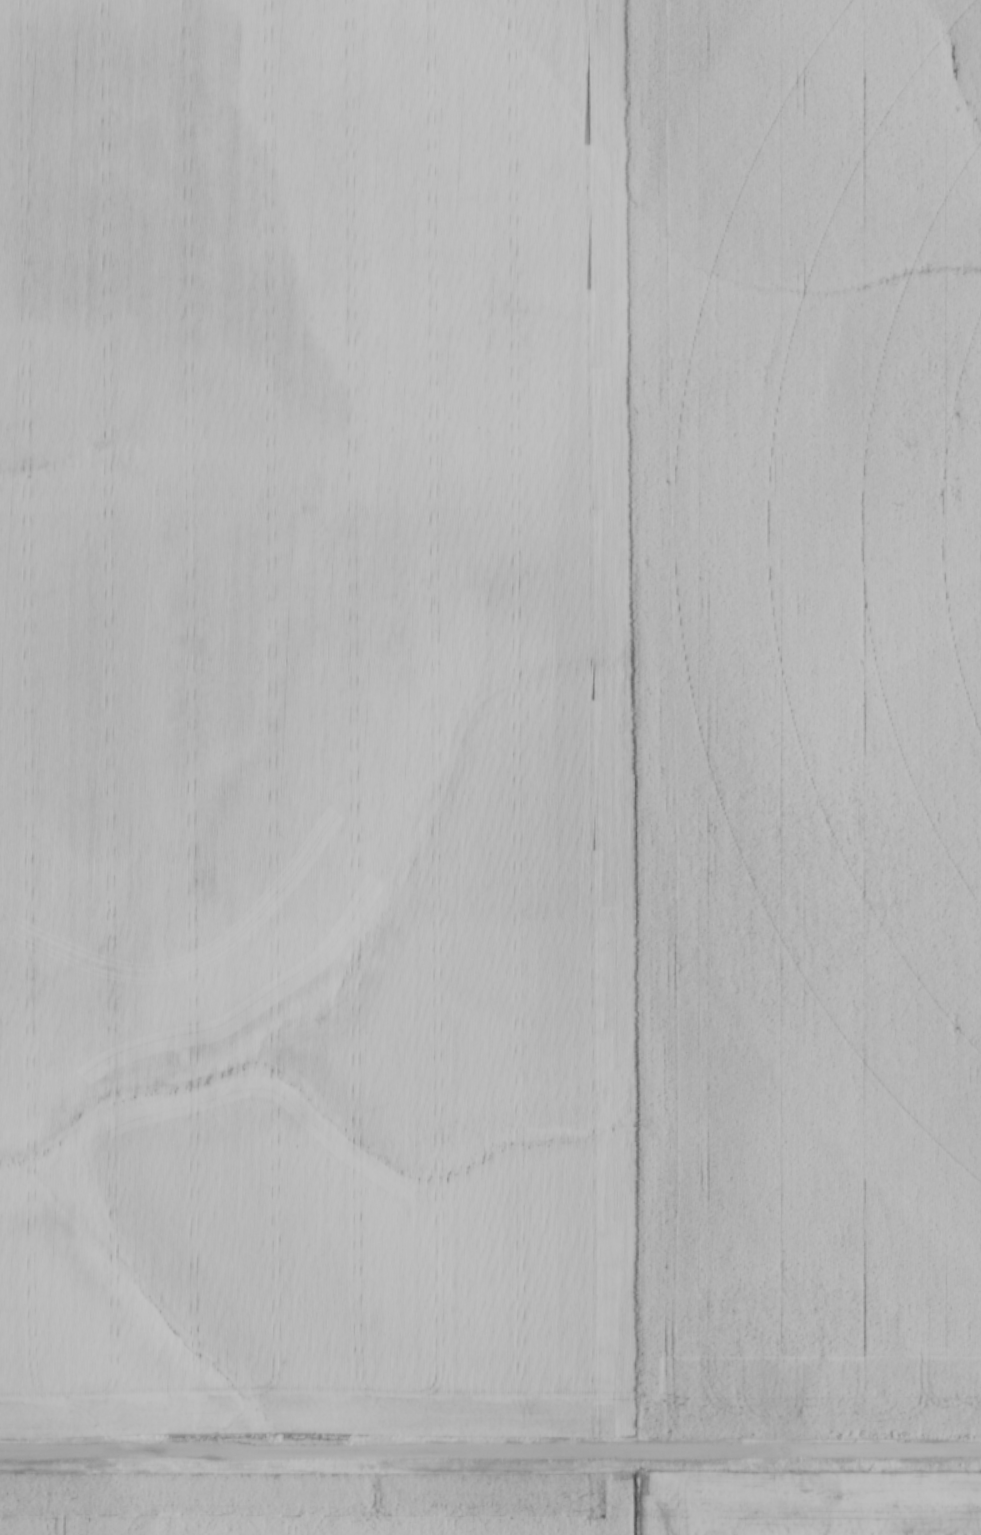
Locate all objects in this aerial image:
road: (490, 1457)

